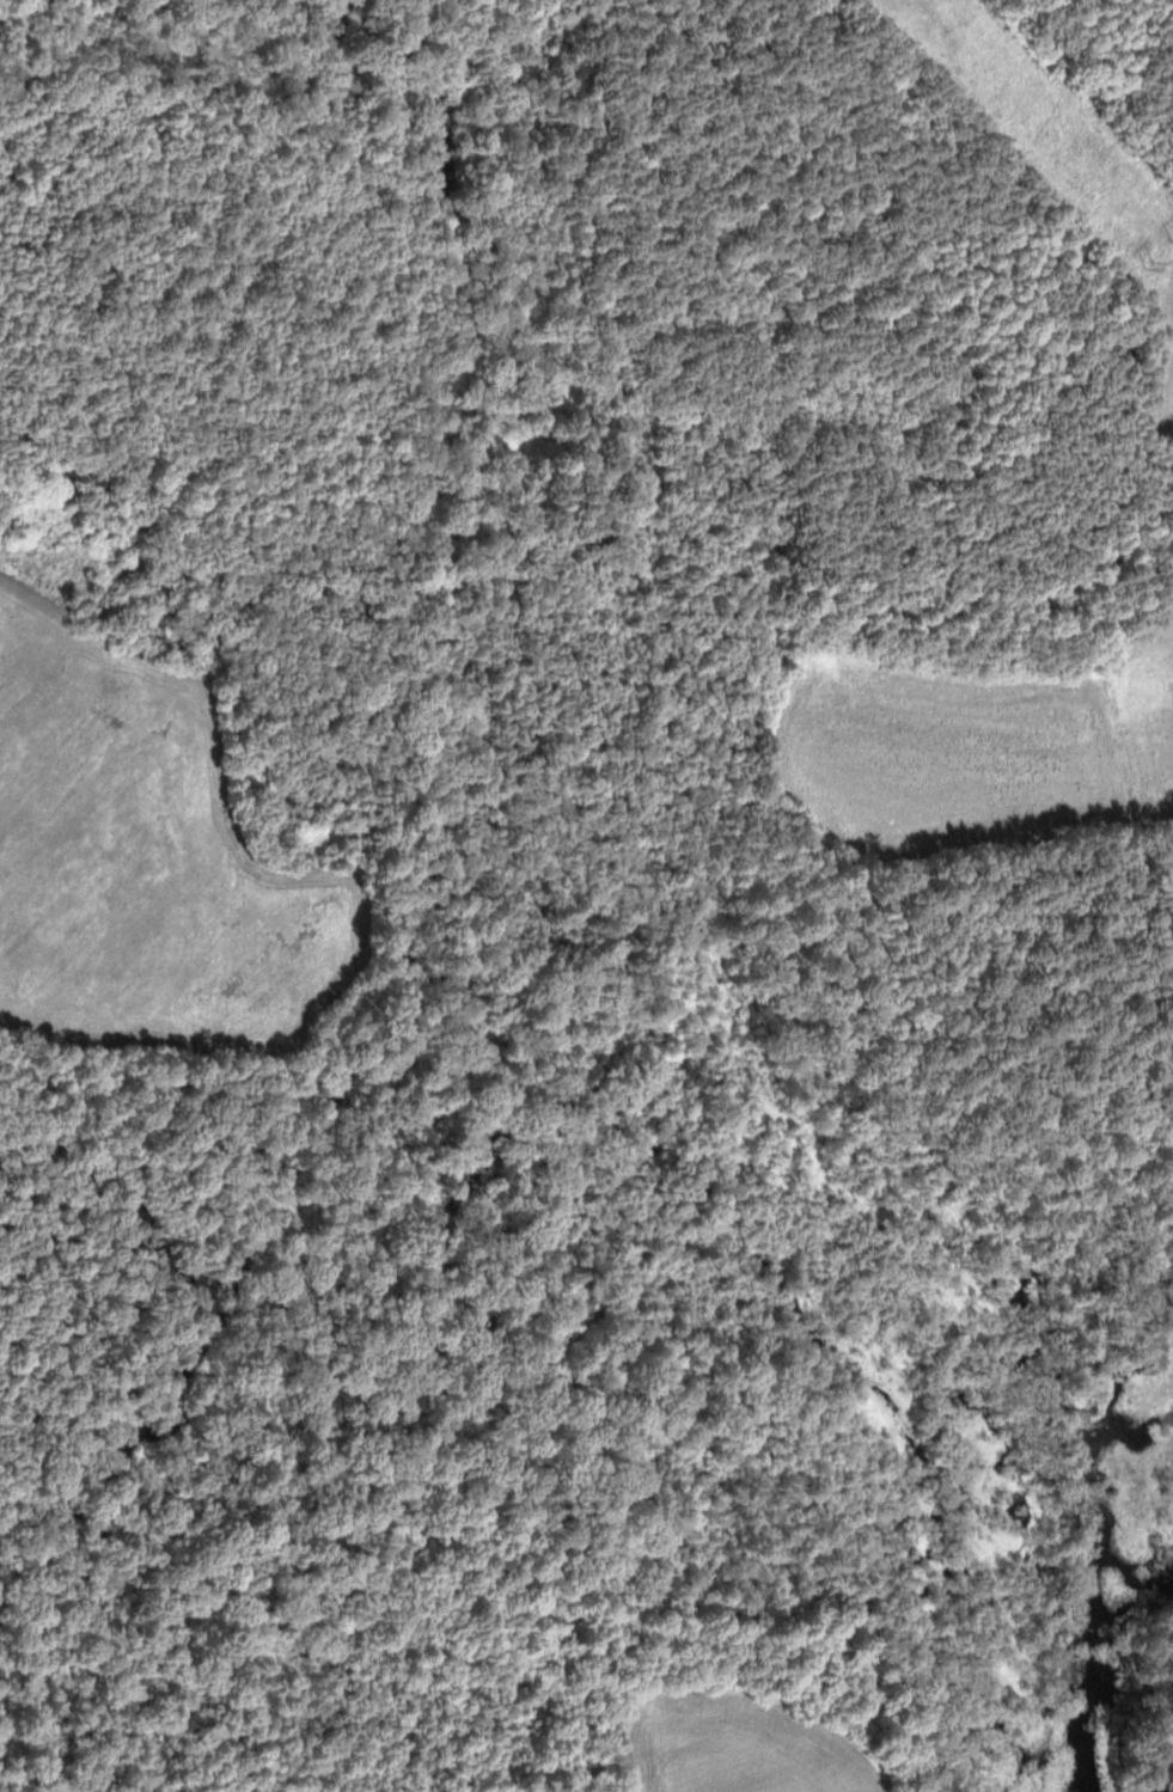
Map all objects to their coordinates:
power tower: (1153, 264)

